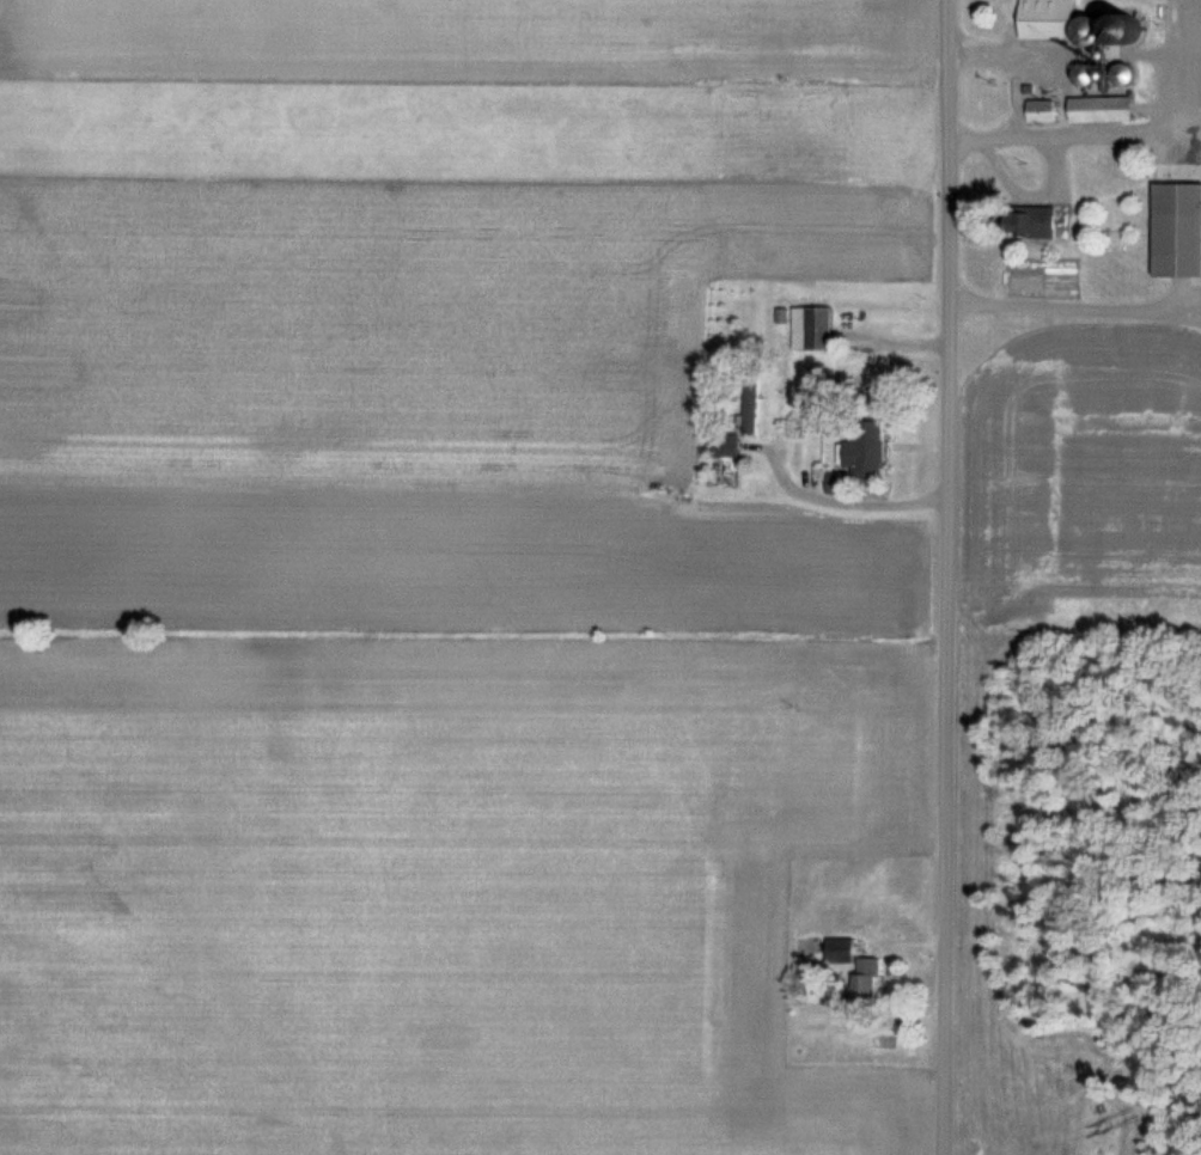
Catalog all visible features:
building: (1048, 18)
building: (1130, 24)
building: (1091, 29)
road: (1013, 66)
building: (1086, 72)
building: (1126, 73)
road: (1182, 74)
building: (1102, 106)
building: (1042, 109)
road: (1066, 135)
building: (1042, 220)
building: (1178, 227)
road: (1075, 310)
building: (811, 326)
building: (749, 403)
building: (725, 444)
building: (862, 459)
road: (834, 501)
road: (944, 576)
building: (840, 949)
building: (867, 979)

